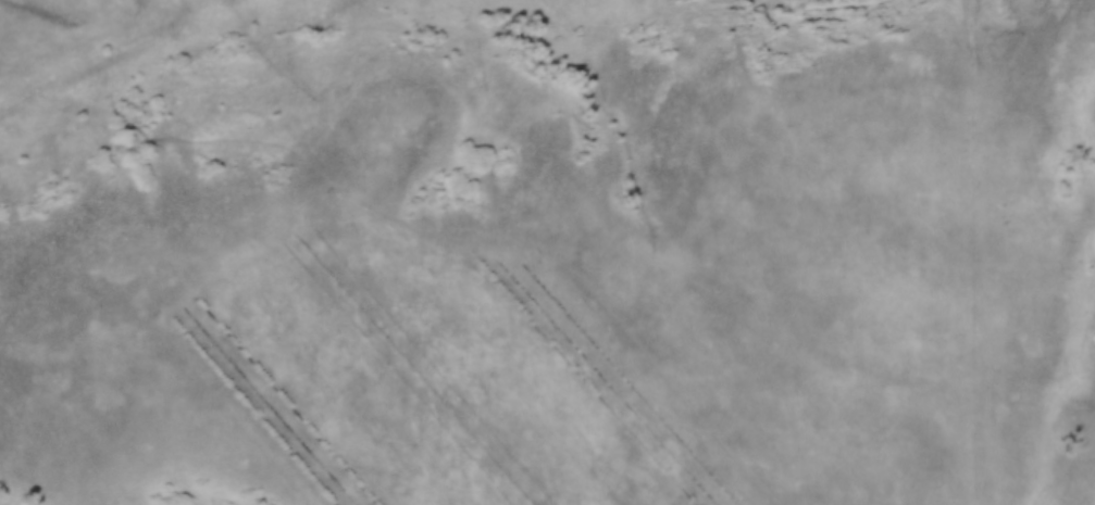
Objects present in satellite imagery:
road: (102, 62)

